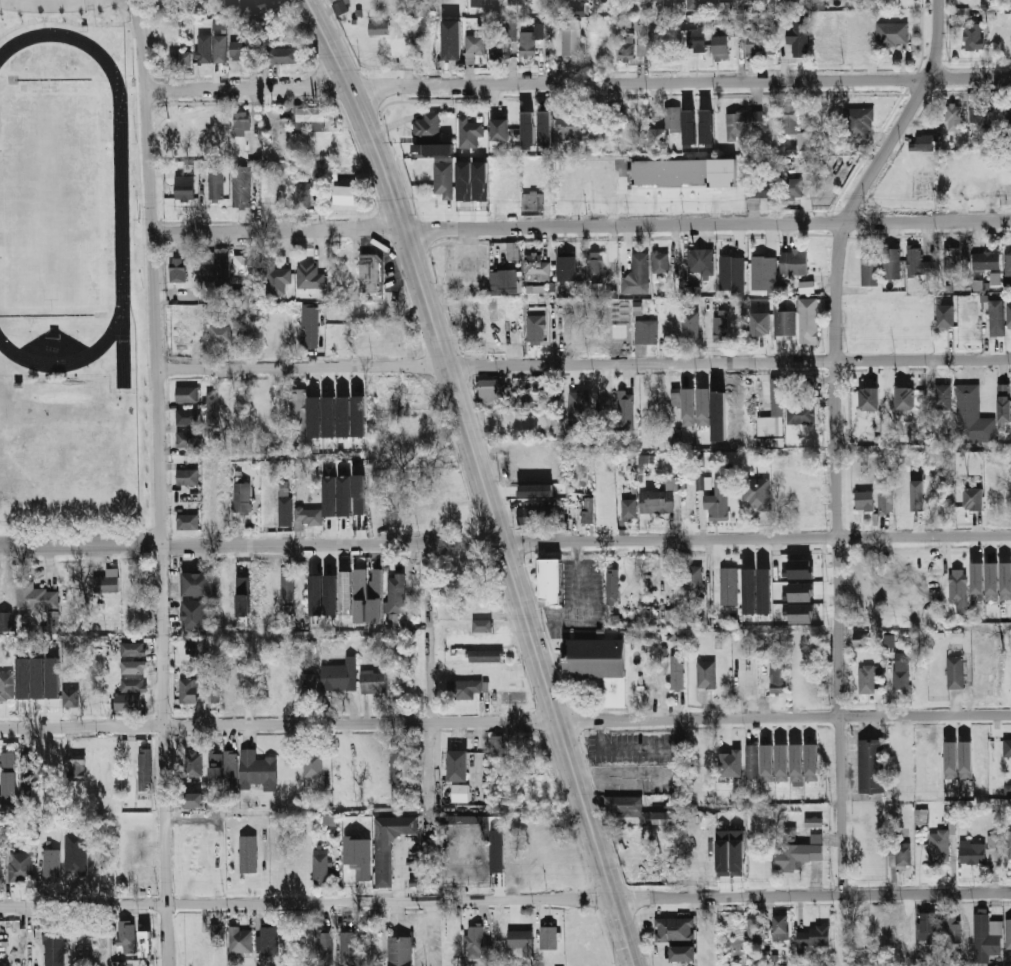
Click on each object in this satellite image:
building: (165, 2)
building: (515, 2)
road: (57, 3)
building: (478, 3)
building: (692, 4)
building: (817, 4)
building: (261, 6)
building: (340, 7)
building: (578, 7)
building: (461, 8)
building: (688, 21)
building: (511, 27)
building: (378, 28)
building: (892, 34)
building: (974, 36)
building: (571, 38)
building: (451, 39)
building: (642, 39)
building: (695, 40)
building: (800, 40)
building: (759, 42)
building: (528, 43)
building: (625, 45)
building: (473, 47)
building: (722, 47)
building: (209, 50)
building: (240, 50)
building: (500, 52)
building: (283, 55)
building: (180, 59)
road: (578, 83)
building: (978, 111)
building: (310, 114)
building: (1007, 114)
building: (954, 117)
building: (671, 118)
building: (700, 118)
building: (789, 119)
building: (595, 122)
building: (857, 122)
building: (569, 123)
building: (242, 124)
building: (742, 124)
building: (427, 127)
building: (527, 128)
building: (544, 128)
building: (688, 129)
building: (501, 130)
building: (470, 133)
building: (658, 138)
building: (800, 143)
building: (922, 143)
building: (432, 148)
building: (670, 173)
building: (332, 176)
building: (443, 179)
building: (464, 180)
building: (480, 180)
building: (216, 184)
building: (242, 187)
building: (184, 188)
building: (763, 188)
building: (792, 189)
building: (346, 195)
building: (301, 197)
park: (48, 198)
track: (119, 201)
building: (532, 202)
road: (581, 226)
building: (511, 251)
building: (952, 260)
building: (661, 261)
building: (701, 261)
building: (986, 261)
building: (794, 262)
building: (216, 264)
building: (247, 264)
building: (892, 264)
building: (919, 264)
building: (567, 265)
building: (595, 265)
building: (536, 267)
building: (1008, 269)
building: (870, 270)
building: (177, 273)
building: (371, 273)
building: (638, 273)
building: (764, 273)
building: (732, 274)
building: (309, 276)
building: (512, 277)
building: (995, 278)
building: (277, 279)
building: (978, 285)
building: (535, 289)
building: (210, 314)
building: (1008, 314)
building: (945, 316)
building: (996, 318)
building: (783, 321)
building: (808, 321)
building: (760, 323)
building: (691, 325)
building: (312, 327)
building: (537, 328)
building: (721, 329)
building: (671, 331)
building: (646, 332)
building: (250, 333)
building: (221, 336)
building: (640, 349)
road: (584, 365)
building: (801, 384)
building: (412, 390)
building: (489, 390)
building: (187, 394)
building: (942, 395)
building: (776, 397)
building: (905, 398)
building: (869, 399)
building: (528, 400)
building: (626, 401)
building: (1003, 403)
building: (297, 404)
building: (685, 404)
building: (577, 406)
building: (703, 406)
building: (213, 410)
building: (967, 411)
building: (801, 413)
building: (329, 416)
building: (343, 416)
building: (358, 416)
building: (187, 417)
building: (314, 417)
building: (428, 431)
road: (834, 435)
building: (774, 437)
building: (187, 439)
building: (646, 458)
building: (187, 477)
building: (221, 479)
road: (479, 479)
road: (158, 481)
building: (703, 483)
building: (536, 490)
building: (445, 491)
building: (755, 492)
building: (917, 492)
building: (359, 494)
building: (243, 496)
building: (330, 496)
building: (345, 496)
building: (661, 497)
building: (973, 498)
building: (864, 501)
building: (883, 504)
building: (629, 509)
building: (717, 510)
building: (588, 511)
building: (285, 513)
building: (533, 515)
building: (309, 516)
building: (187, 521)
road: (505, 542)
building: (468, 568)
building: (800, 569)
building: (960, 575)
building: (694, 577)
building: (612, 579)
building: (1005, 580)
building: (550, 581)
building: (977, 581)
building: (991, 581)
building: (107, 582)
building: (749, 582)
building: (766, 582)
building: (198, 584)
building: (726, 584)
building: (288, 586)
building: (800, 592)
building: (862, 593)
building: (316, 594)
building: (331, 594)
building: (397, 594)
building: (360, 595)
building: (243, 596)
building: (36, 597)
building: (376, 597)
road: (578, 607)
building: (801, 613)
building: (196, 615)
building: (6, 622)
building: (52, 622)
building: (482, 626)
building: (862, 640)
building: (132, 649)
building: (197, 651)
building: (485, 656)
building: (599, 666)
building: (133, 667)
building: (677, 672)
building: (955, 673)
building: (706, 674)
building: (901, 674)
building: (339, 675)
building: (38, 677)
building: (721, 677)
building: (867, 679)
building: (373, 681)
building: (778, 681)
building: (311, 682)
building: (231, 683)
building: (133, 685)
building: (7, 686)
building: (215, 688)
building: (465, 688)
building: (189, 690)
road: (428, 695)
building: (70, 697)
building: (128, 702)
road: (505, 721)
building: (498, 746)
building: (1007, 748)
building: (774, 753)
building: (737, 759)
building: (965, 759)
building: (950, 760)
building: (753, 761)
building: (313, 762)
building: (796, 762)
building: (811, 762)
building: (194, 763)
building: (215, 763)
building: (767, 763)
building: (781, 763)
building: (400, 764)
building: (459, 765)
building: (145, 766)
building: (77, 768)
building: (871, 769)
building: (230, 770)
building: (258, 770)
building: (25, 781)
building: (8, 782)
building: (542, 790)
building: (460, 792)
building: (192, 799)
building: (626, 805)
building: (665, 818)
building: (330, 819)
building: (468, 821)
building: (813, 822)
building: (139, 831)
building: (389, 844)
building: (1009, 846)
building: (939, 847)
building: (993, 848)
building: (730, 850)
building: (973, 853)
building: (135, 854)
building: (799, 854)
building: (900, 854)
building: (251, 861)
building: (352, 862)
building: (52, 863)
building: (321, 866)
building: (21, 867)
building: (651, 869)
building: (0, 874)
building: (136, 877)
road: (505, 900)
building: (928, 926)
building: (781, 928)
building: (675, 929)
building: (953, 929)
building: (754, 931)
building: (126, 933)
road: (431, 933)
building: (217, 934)
building: (1009, 934)
building: (549, 937)
building: (813, 937)
building: (984, 937)
building: (521, 939)
building: (241, 940)
building: (370, 940)
building: (269, 941)
building: (474, 942)
building: (54, 945)
building: (145, 945)
building: (325, 948)
building: (348, 948)
building: (400, 951)
building: (683, 953)
building: (119, 963)

